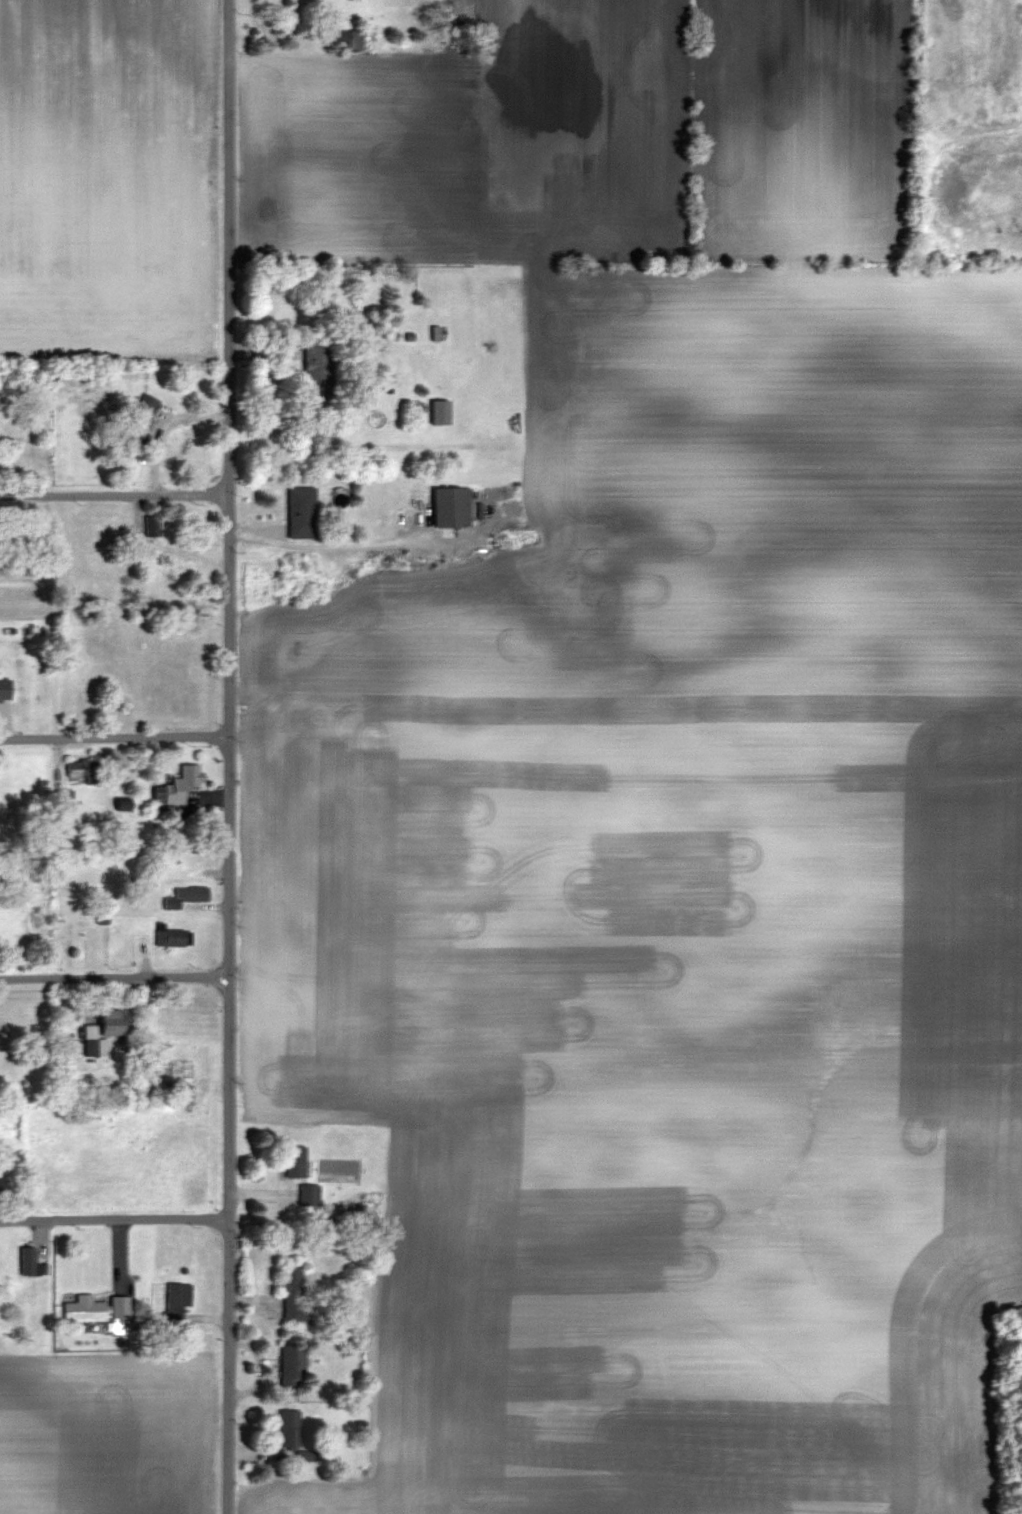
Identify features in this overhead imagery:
building: (348, 39)
building: (436, 333)
building: (319, 370)
building: (440, 412)
building: (375, 418)
building: (140, 420)
road: (114, 495)
building: (452, 508)
building: (302, 513)
building: (151, 526)
road: (326, 547)
building: (5, 689)
road: (114, 736)
road: (230, 756)
building: (83, 769)
building: (180, 785)
building: (187, 896)
building: (172, 936)
road: (114, 976)
building: (112, 1022)
building: (90, 1047)
building: (183, 1070)
building: (295, 1161)
building: (3, 1184)
building: (309, 1195)
road: (114, 1219)
building: (29, 1261)
building: (295, 1295)
building: (177, 1300)
building: (120, 1307)
building: (84, 1310)
building: (292, 1366)
building: (289, 1430)

